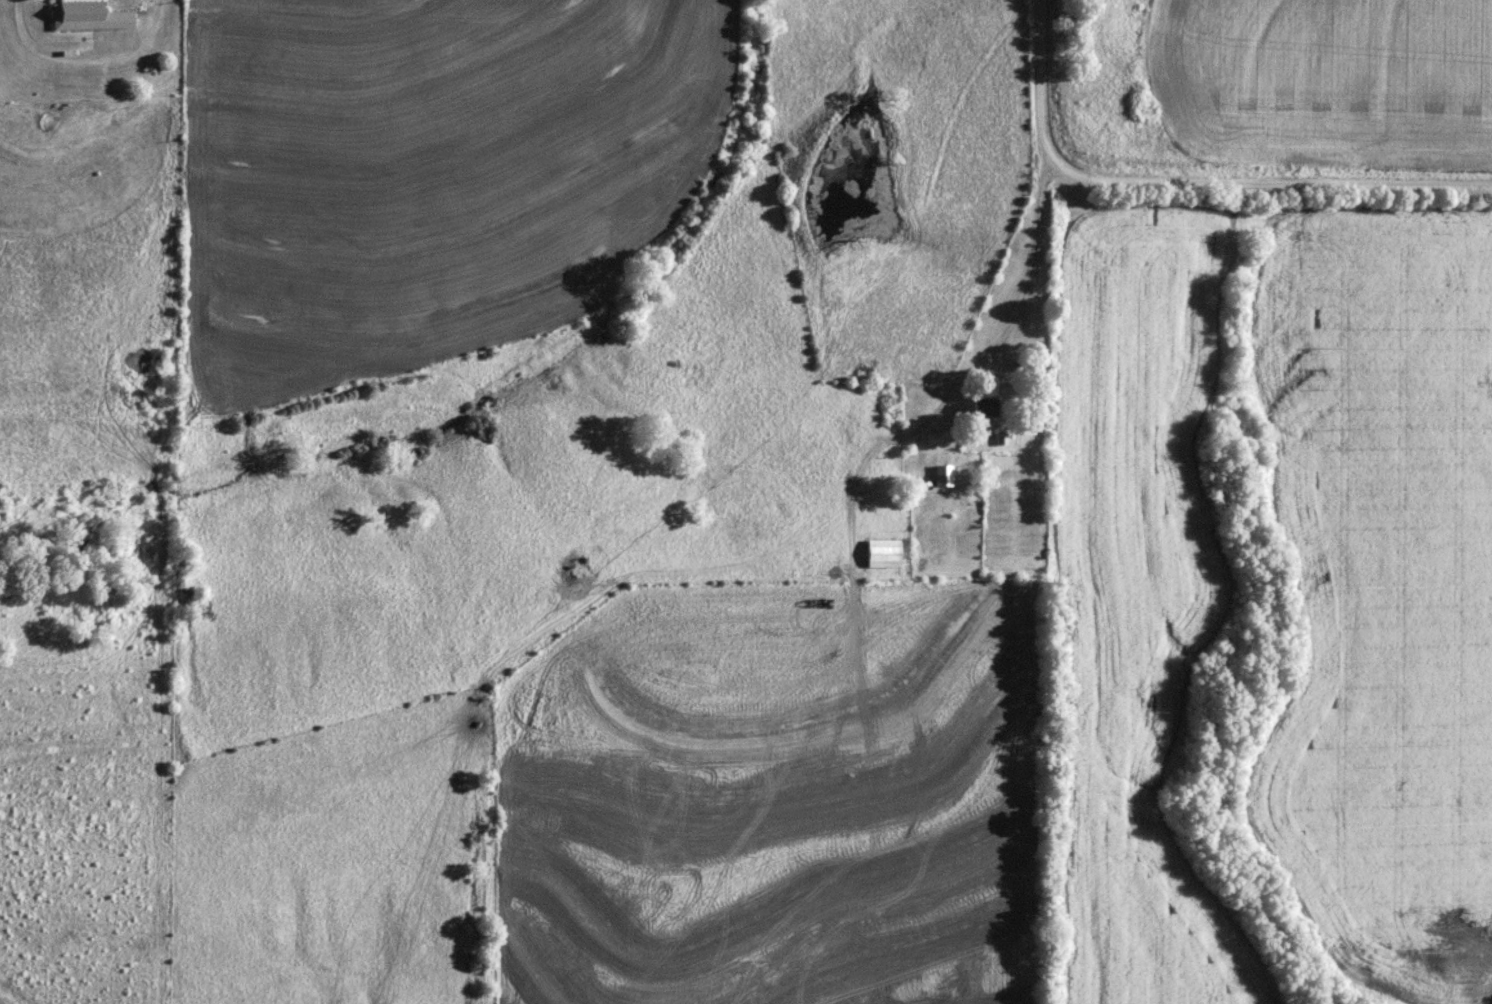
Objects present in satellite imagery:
building: (86, 16)
road: (82, 55)
road: (1187, 183)
building: (981, 408)
building: (940, 476)
building: (880, 554)

